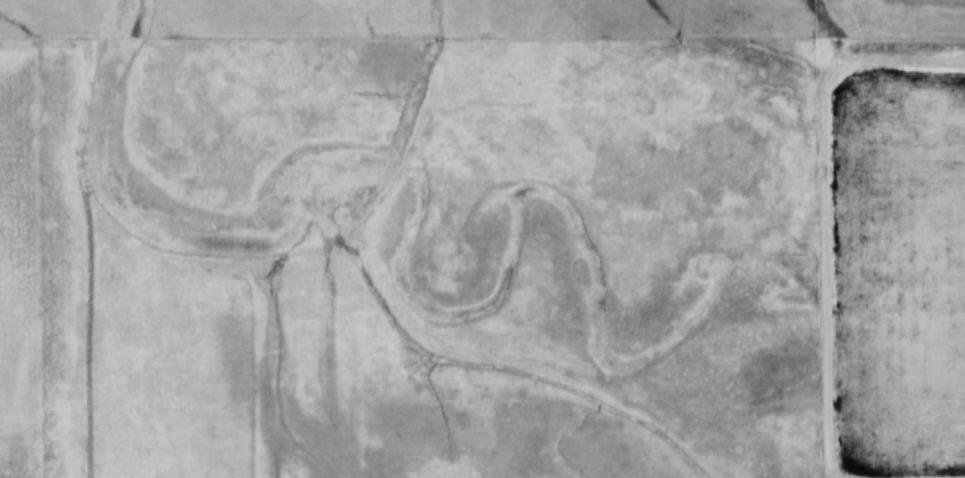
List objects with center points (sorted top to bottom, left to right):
crop: (41, 266)

